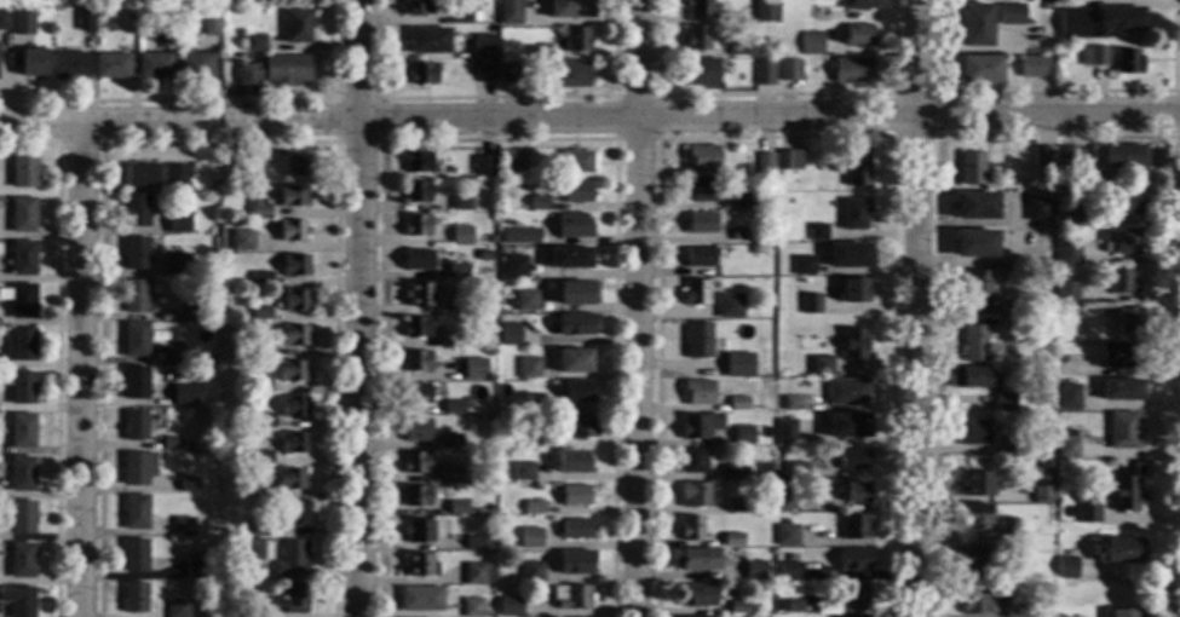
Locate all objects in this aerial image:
building: (859, 4)
building: (419, 7)
building: (697, 7)
building: (570, 8)
building: (764, 11)
building: (127, 12)
building: (510, 12)
building: (104, 15)
building: (460, 15)
building: (819, 15)
building: (1011, 15)
building: (474, 17)
building: (2, 21)
building: (84, 21)
building: (1099, 22)
building: (19, 23)
building: (44, 24)
building: (209, 25)
building: (297, 25)
building: (973, 25)
building: (165, 33)
building: (858, 35)
building: (698, 39)
building: (576, 40)
building: (427, 41)
building: (810, 42)
building: (253, 44)
building: (482, 46)
building: (737, 48)
building: (539, 53)
building: (1093, 57)
building: (31, 62)
building: (1127, 62)
building: (68, 65)
building: (111, 65)
building: (152, 65)
building: (195, 65)
building: (1030, 67)
building: (275, 70)
building: (788, 70)
building: (850, 70)
building: (979, 70)
building: (488, 73)
building: (507, 73)
building: (701, 73)
building: (422, 74)
building: (571, 74)
building: (762, 74)
road: (1052, 93)
road: (893, 94)
road: (1173, 113)
road: (589, 122)
road: (1055, 134)
building: (1043, 156)
building: (1069, 156)
building: (1123, 156)
building: (702, 158)
building: (789, 160)
building: (575, 161)
building: (416, 162)
building: (513, 162)
building: (764, 163)
building: (294, 166)
building: (484, 166)
building: (971, 168)
building: (23, 172)
building: (229, 172)
building: (853, 172)
building: (140, 174)
building: (174, 174)
building: (1100, 183)
building: (1028, 184)
building: (701, 190)
building: (571, 191)
building: (416, 192)
building: (290, 196)
building: (1124, 198)
building: (739, 201)
building: (537, 203)
building: (460, 204)
building: (975, 206)
building: (258, 208)
building: (1037, 209)
building: (136, 211)
building: (853, 213)
building: (22, 214)
building: (1069, 215)
building: (177, 223)
building: (700, 223)
building: (416, 225)
building: (572, 226)
building: (292, 230)
building: (817, 232)
building: (741, 233)
building: (461, 235)
building: (519, 236)
building: (489, 240)
building: (241, 241)
building: (1121, 242)
building: (975, 244)
building: (754, 249)
building: (136, 253)
building: (781, 253)
building: (1067, 254)
building: (848, 255)
building: (22, 258)
building: (568, 258)
building: (698, 258)
building: (416, 259)
building: (178, 265)
building: (294, 265)
building: (802, 265)
building: (513, 266)
building: (457, 271)
building: (259, 278)
building: (756, 279)
building: (1121, 282)
building: (978, 287)
building: (853, 290)
building: (576, 292)
building: (1067, 292)
building: (693, 293)
building: (419, 294)
building: (134, 296)
building: (19, 300)
building: (294, 300)
building: (525, 301)
building: (810, 304)
building: (457, 305)
building: (729, 306)
road: (365, 307)
road: (637, 307)
road: (914, 307)
building: (1013, 308)
building: (185, 311)
building: (258, 312)
building: (209, 316)
building: (1127, 319)
building: (575, 323)
building: (1011, 325)
building: (416, 327)
building: (510, 334)
building: (293, 335)
building: (165, 336)
building: (134, 340)
building: (451, 340)
building: (698, 341)
building: (973, 342)
building: (853, 345)
building: (19, 346)
building: (259, 348)
building: (171, 354)
building: (246, 354)
building: (1117, 357)
building: (1061, 359)
building: (415, 361)
building: (574, 361)
building: (733, 364)
building: (822, 365)
building: (529, 368)
building: (473, 369)
road: (73, 370)
building: (290, 371)
building: (758, 371)
building: (744, 375)
building: (969, 377)
building: (134, 382)
building: (259, 384)
building: (19, 386)
building: (1121, 390)
building: (576, 391)
building: (697, 392)
building: (846, 392)
building: (184, 394)
building: (413, 394)
building: (1067, 397)
building: (794, 403)
building: (1003, 403)
building: (738, 404)
building: (292, 406)
building: (455, 406)
building: (537, 406)
building: (157, 413)
building: (261, 421)
building: (136, 426)
building: (576, 426)
building: (698, 426)
building: (847, 426)
building: (416, 429)
building: (1122, 429)
building: (22, 431)
building: (784, 432)
building: (973, 433)
building: (742, 434)
building: (528, 436)
building: (450, 440)
building: (171, 443)
building: (292, 443)
building: (1012, 445)
building: (1066, 446)
building: (817, 455)
building: (260, 457)
building: (695, 460)
building: (848, 461)
building: (571, 462)
building: (415, 463)
building: (1042, 463)
building: (137, 468)
building: (799, 468)
building: (733, 471)
building: (523, 472)
building: (21, 473)
building: (449, 474)
building: (289, 479)
building: (188, 484)
building: (974, 484)
building: (1127, 488)
building: (258, 491)
building: (854, 492)
building: (1041, 494)
building: (695, 495)
building: (415, 496)
building: (574, 496)
building: (787, 496)
building: (735, 506)
building: (456, 508)
building: (533, 508)
building: (136, 512)
building: (1087, 512)
building: (292, 514)
building: (971, 514)
building: (22, 517)
building: (1063, 519)
building: (784, 521)
building: (258, 525)
building: (183, 526)
building: (1006, 526)
building: (854, 527)
building: (691, 529)
building: (241, 530)
building: (418, 530)
building: (574, 530)
building: (787, 535)
building: (529, 538)
building: (732, 540)
building: (473, 543)
building: (1012, 547)
building: (252, 550)
building: (1118, 550)
building: (134, 555)
building: (290, 558)
building: (696, 559)
building: (852, 559)
building: (967, 559)
building: (21, 560)
building: (575, 561)
building: (418, 566)
building: (1065, 567)
building: (196, 569)
building: (754, 571)
building: (788, 571)
building: (531, 572)
building: (478, 573)
building: (788, 589)
building: (698, 595)
building: (853, 595)
building: (571, 596)
building: (134, 598)
building: (293, 598)
building: (420, 599)
building: (18, 601)
building: (977, 601)
building: (792, 606)
building: (473, 607)
building: (508, 607)
building: (738, 607)
building: (178, 609)
building: (254, 612)
building: (1018, 612)
building: (1123, 613)

